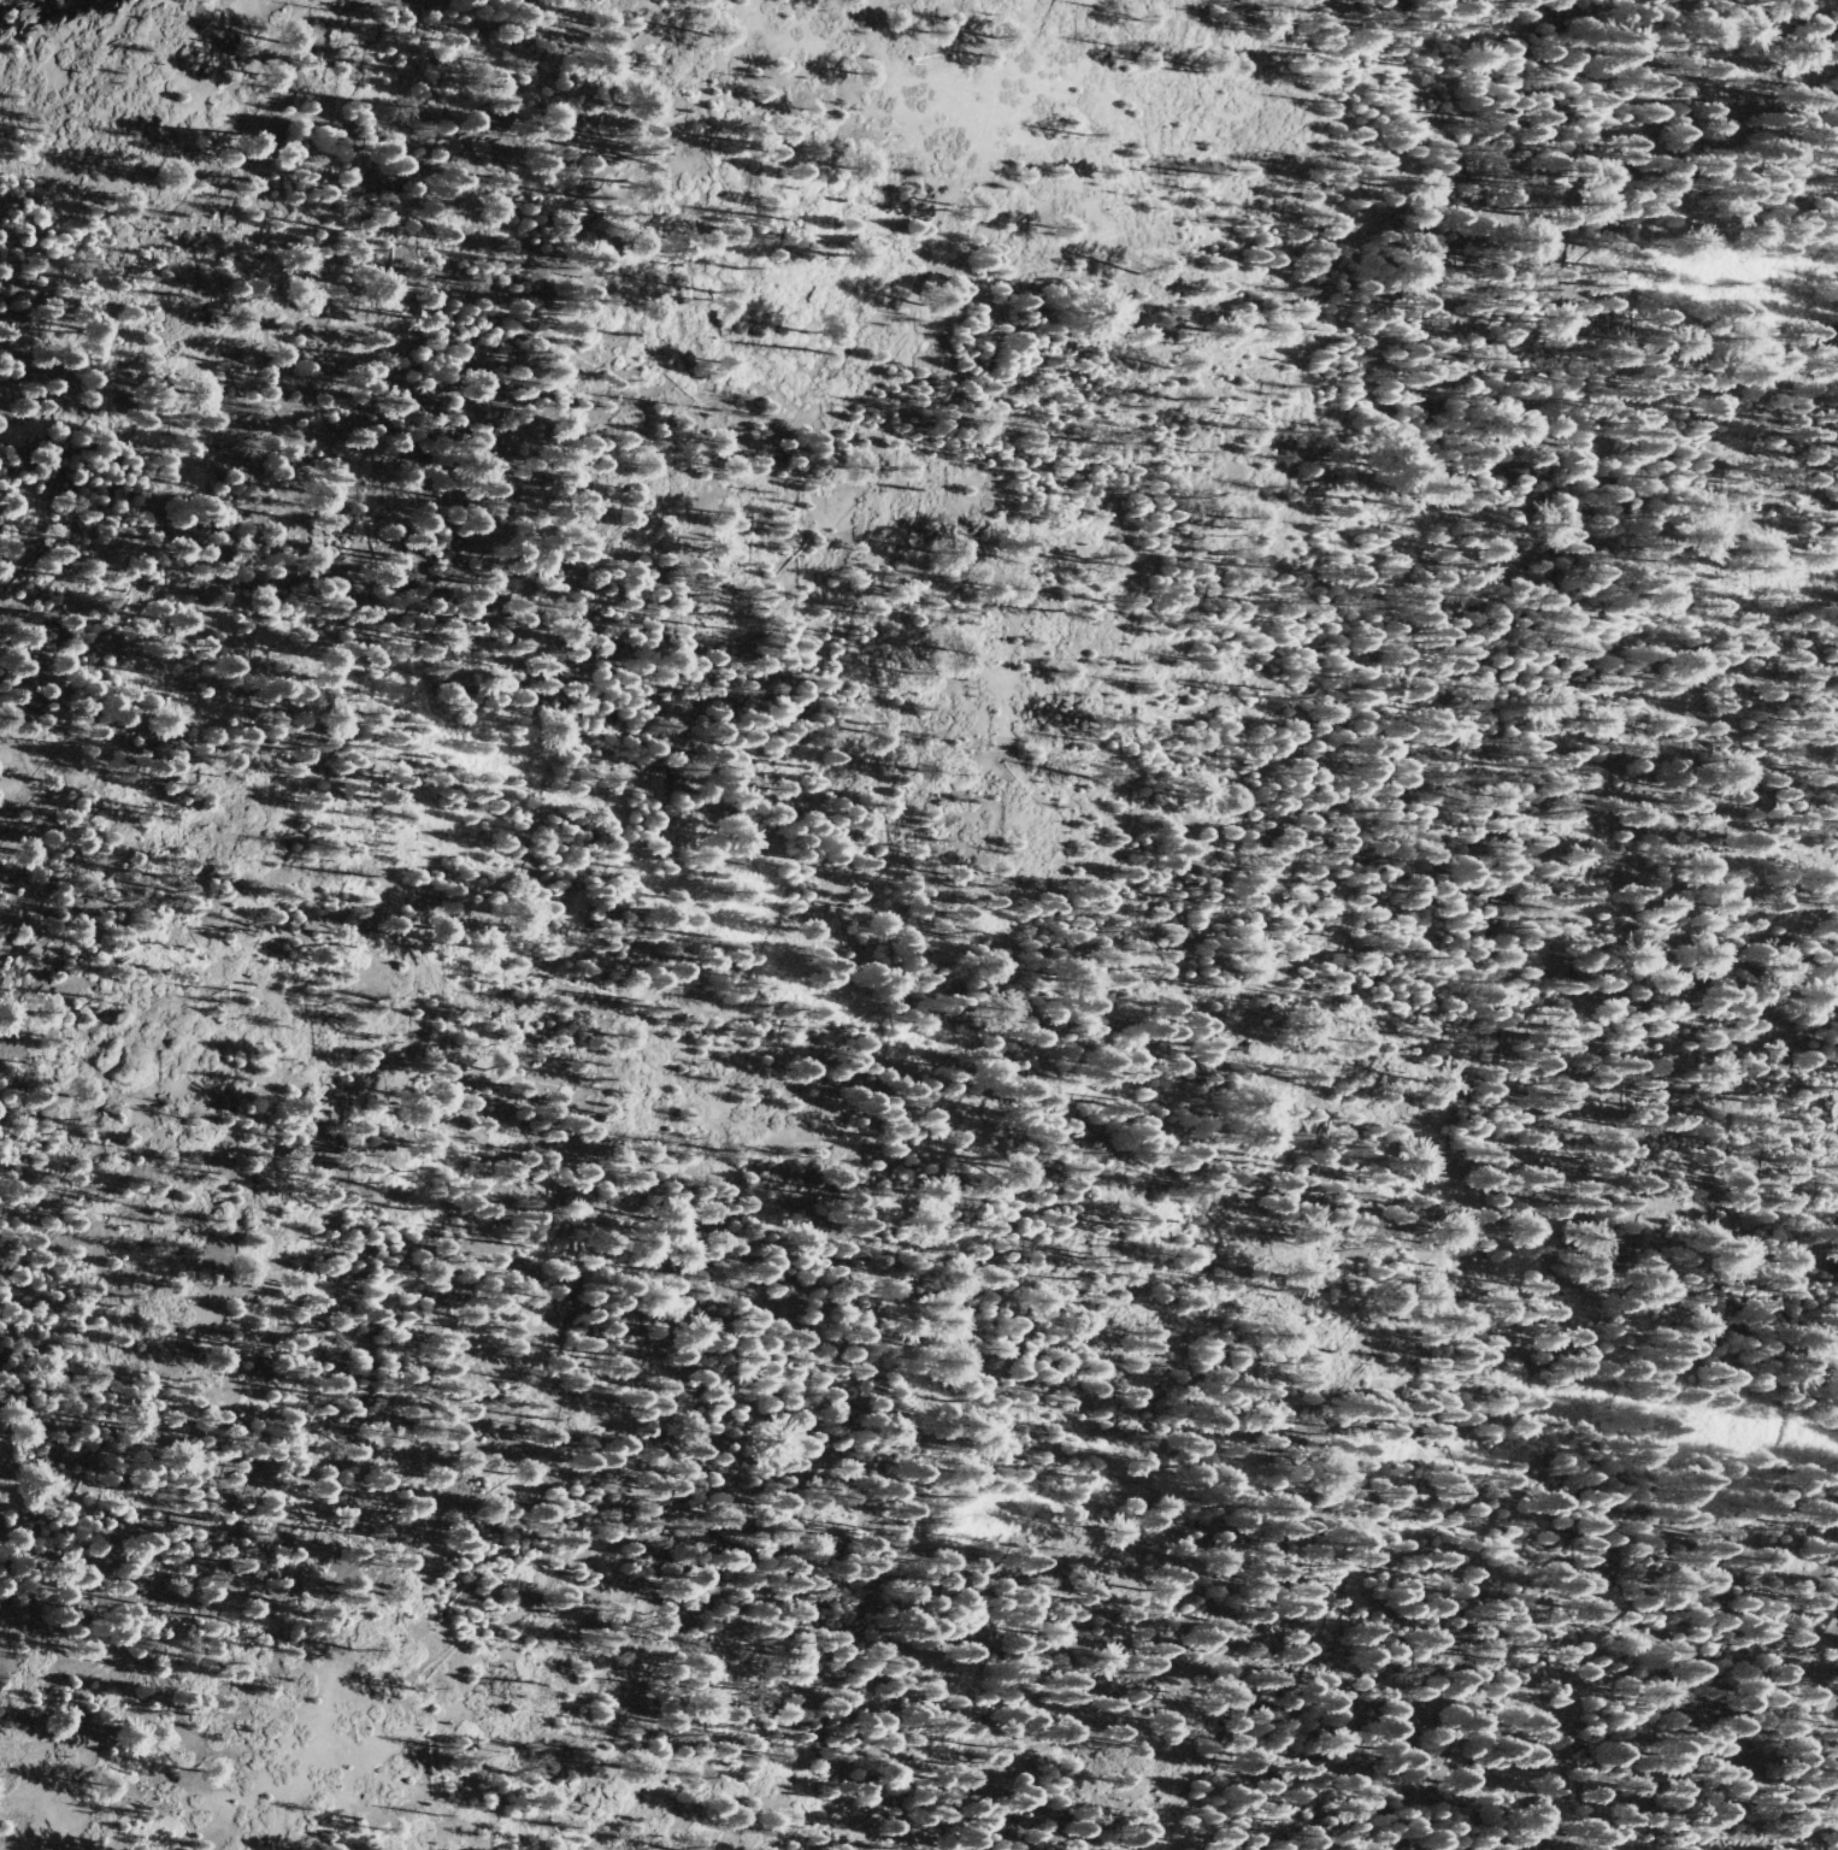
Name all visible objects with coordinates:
road: (267, 47)
road: (413, 768)
road: (885, 1136)

